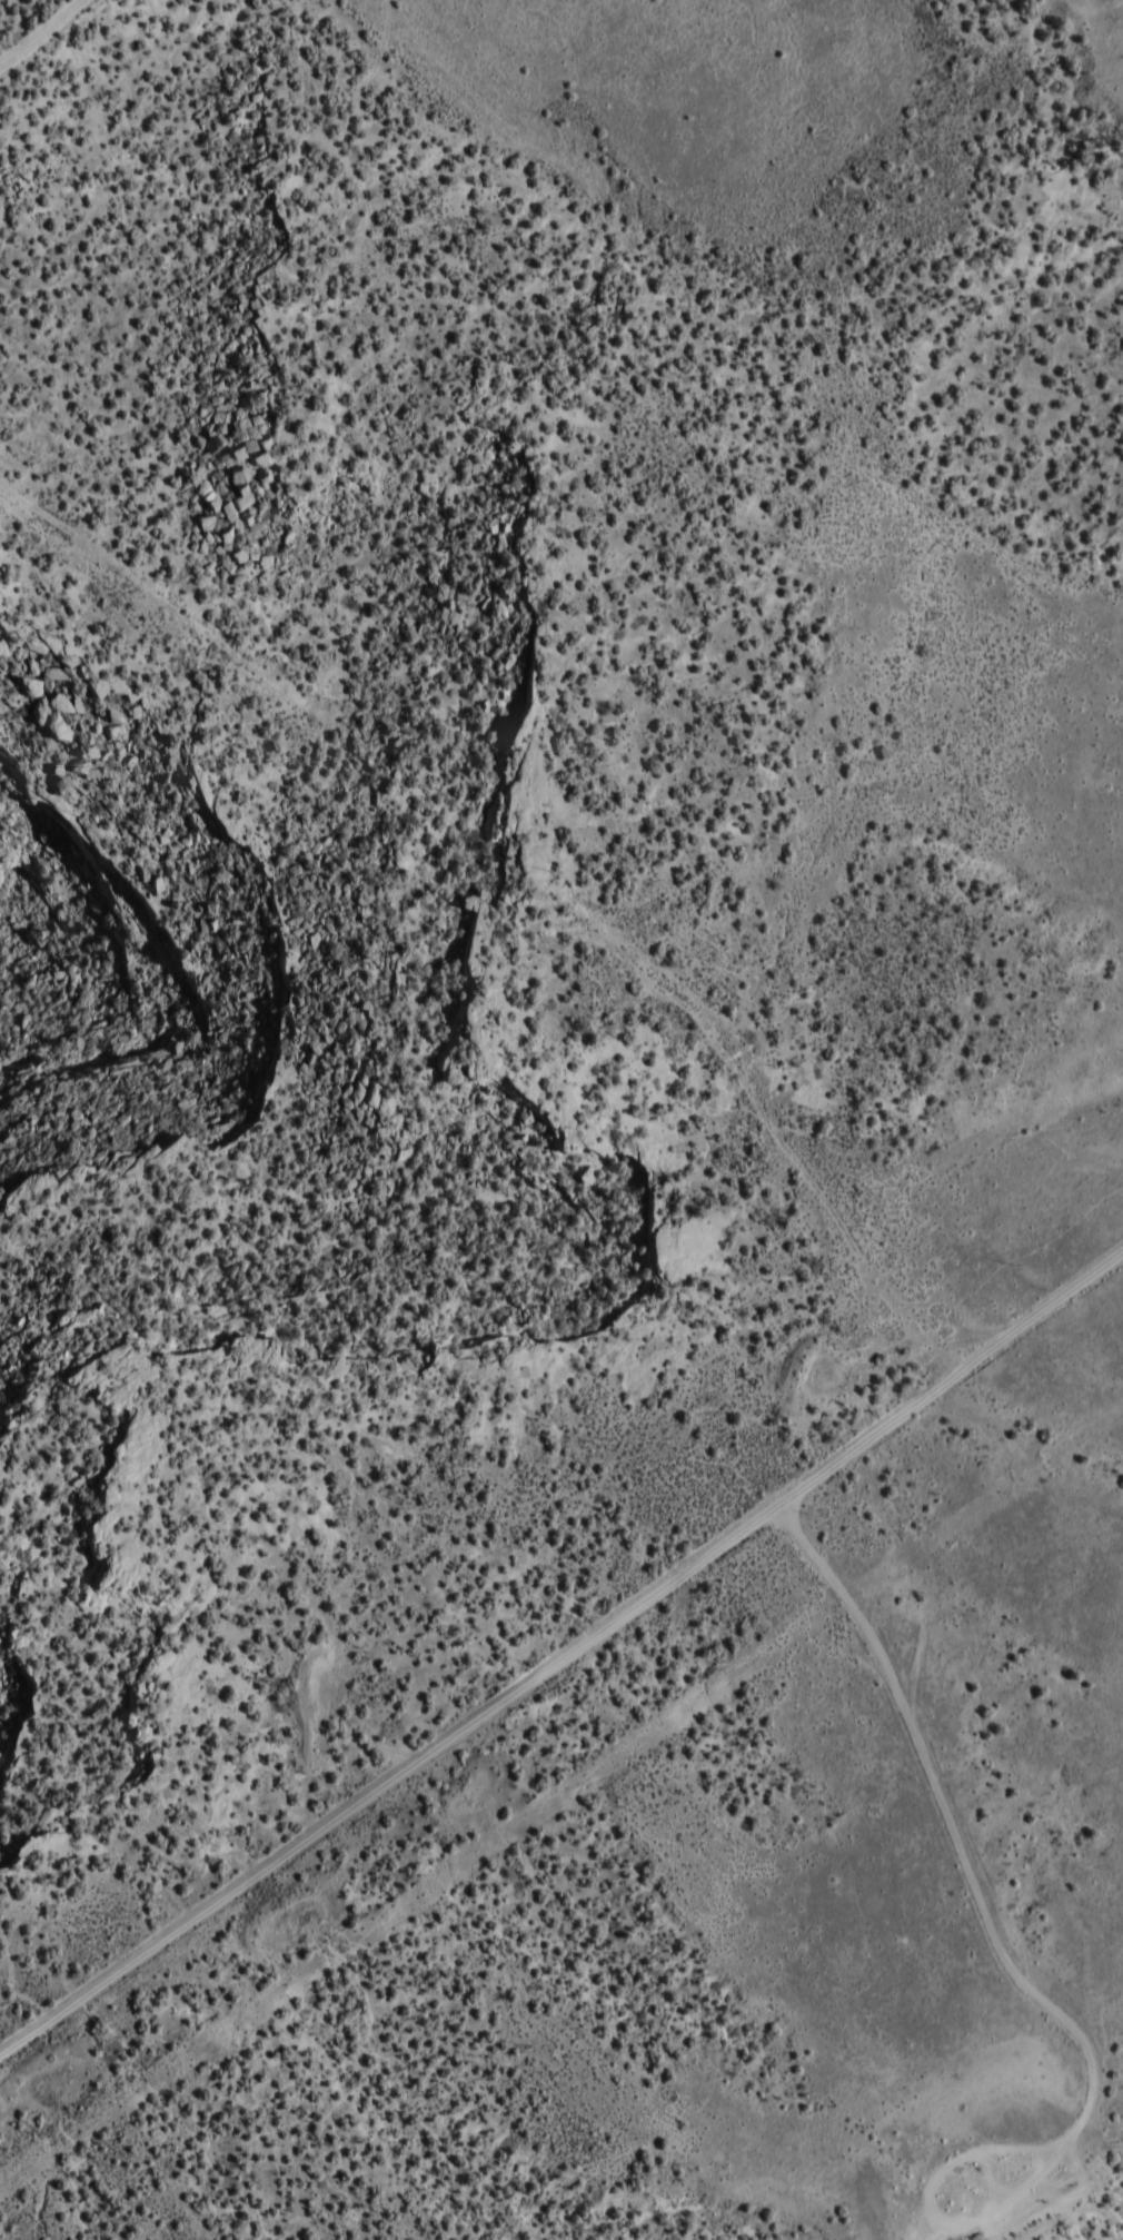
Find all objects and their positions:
road: (6, 9)
road: (561, 1631)

